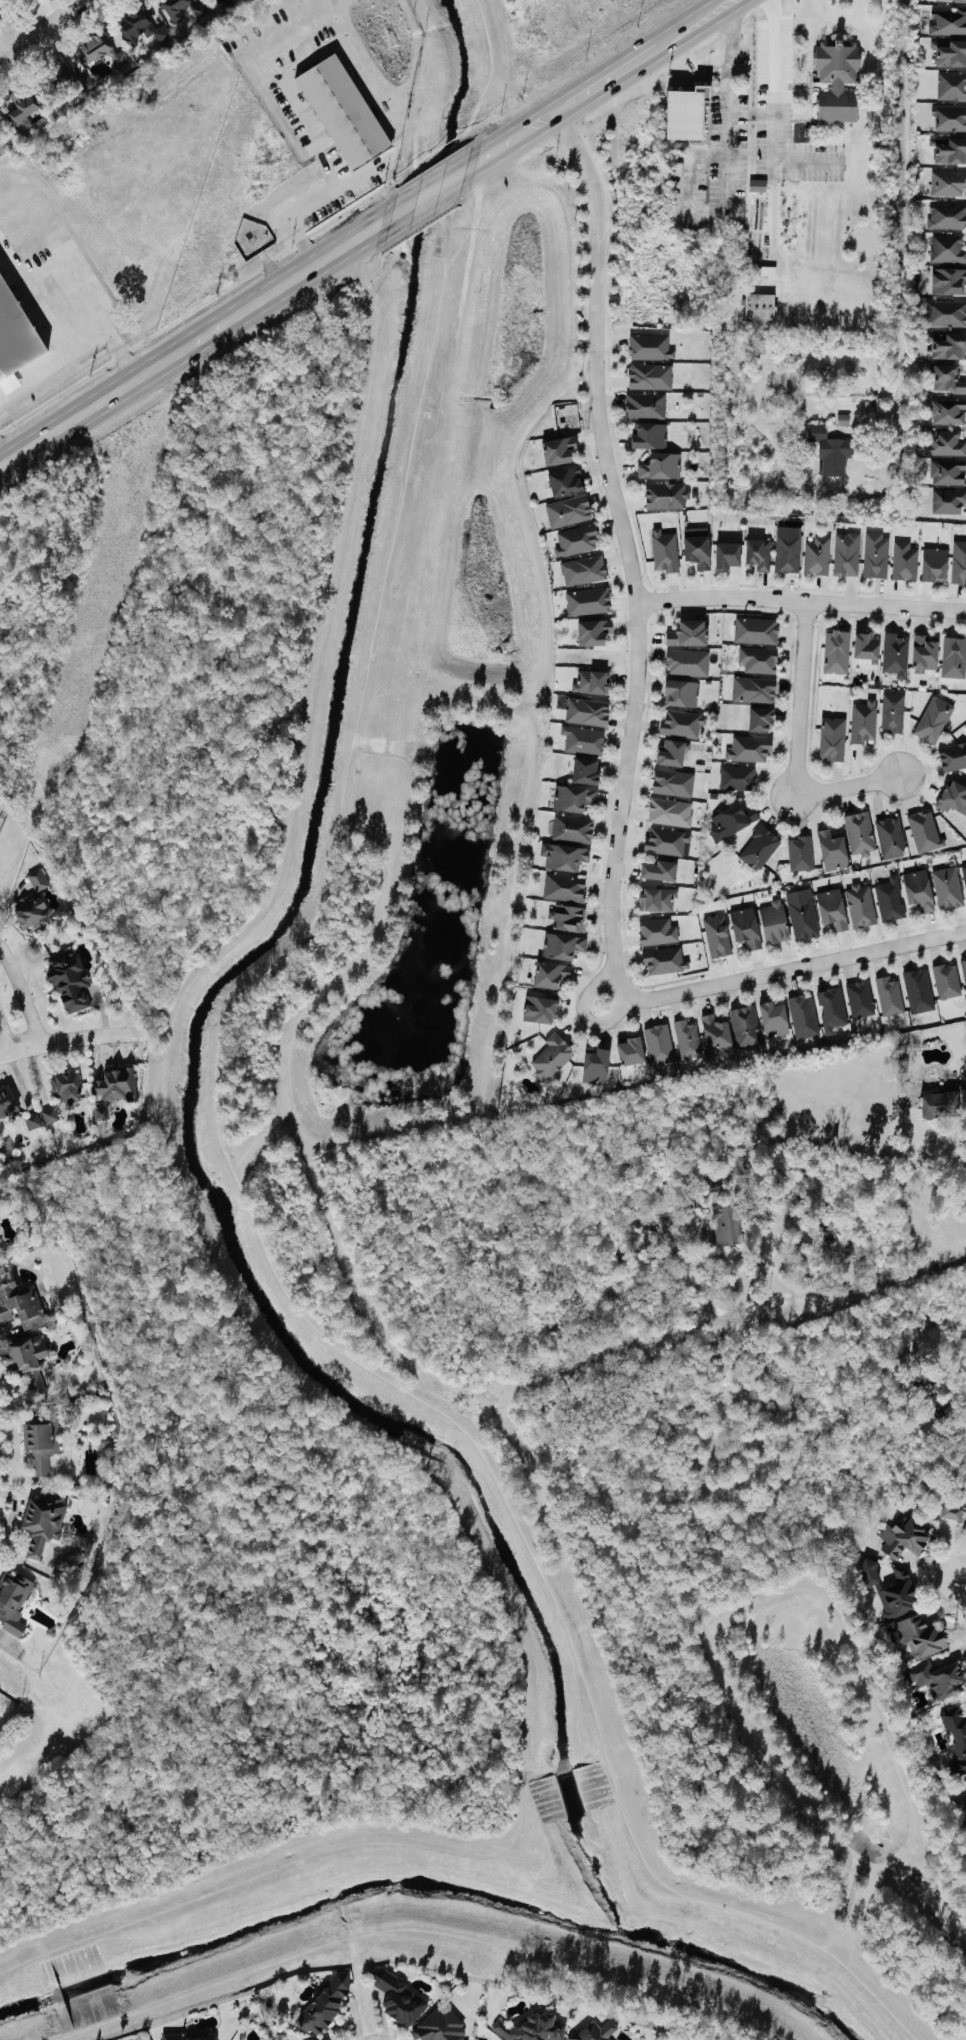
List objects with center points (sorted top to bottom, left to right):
building: (174, 13)
building: (948, 21)
road: (9, 27)
building: (141, 27)
road: (44, 28)
road: (693, 28)
building: (100, 49)
building: (951, 54)
road: (431, 64)
building: (836, 80)
road: (602, 86)
building: (951, 86)
road: (781, 104)
building: (342, 111)
building: (23, 112)
building: (685, 113)
building: (1, 117)
building: (950, 118)
road: (515, 139)
building: (949, 150)
road: (706, 154)
road: (332, 181)
building: (948, 183)
building: (757, 185)
road: (432, 190)
road: (899, 214)
building: (947, 216)
building: (948, 248)
building: (948, 281)
road: (66, 302)
building: (946, 313)
road: (195, 342)
building: (13, 343)
building: (761, 345)
building: (650, 347)
road: (76, 354)
building: (650, 376)
building: (947, 379)
building: (645, 406)
building: (948, 411)
building: (649, 436)
building: (947, 443)
building: (829, 449)
building: (558, 450)
road: (5, 454)
building: (661, 466)
building: (948, 472)
building: (566, 482)
building: (666, 495)
building: (948, 501)
building: (567, 511)
building: (576, 541)
building: (697, 547)
building: (788, 549)
building: (664, 551)
road: (627, 554)
building: (758, 554)
building: (846, 554)
building: (727, 556)
building: (817, 556)
building: (876, 556)
building: (905, 561)
building: (958, 562)
building: (934, 564)
building: (583, 570)
building: (588, 601)
road: (801, 601)
building: (756, 631)
building: (592, 632)
building: (688, 634)
building: (865, 650)
building: (836, 652)
building: (924, 653)
building: (895, 655)
building: (954, 658)
building: (758, 660)
building: (687, 662)
building: (592, 682)
building: (753, 690)
building: (680, 694)
road: (799, 700)
building: (587, 712)
building: (893, 712)
building: (760, 720)
building: (934, 720)
building: (864, 722)
building: (682, 723)
building: (832, 739)
building: (583, 740)
building: (749, 749)
building: (670, 754)
building: (953, 757)
building: (585, 772)
building: (737, 778)
building: (673, 783)
road: (846, 787)
building: (953, 798)
building: (573, 799)
building: (670, 812)
building: (732, 820)
building: (572, 828)
building: (924, 831)
building: (860, 834)
building: (890, 838)
building: (667, 841)
building: (759, 848)
building: (832, 851)
building: (801, 854)
building: (564, 856)
building: (659, 870)
building: (964, 873)
building: (38, 879)
building: (564, 887)
building: (947, 887)
building: (918, 889)
building: (658, 898)
building: (889, 899)
building: (860, 905)
building: (832, 908)
building: (29, 910)
building: (802, 913)
building: (568, 917)
building: (774, 922)
building: (745, 926)
building: (657, 931)
building: (717, 935)
building: (562, 945)
building: (665, 960)
building: (964, 970)
building: (550, 973)
road: (768, 973)
building: (946, 980)
building: (69, 981)
road: (589, 990)
building: (919, 990)
road: (22, 994)
building: (889, 995)
building: (860, 999)
building: (832, 1008)
building: (539, 1009)
building: (804, 1016)
building: (773, 1018)
building: (745, 1025)
building: (716, 1035)
road: (5, 1037)
road: (69, 1037)
building: (687, 1039)
building: (659, 1044)
building: (630, 1050)
building: (552, 1056)
building: (596, 1066)
building: (112, 1088)
building: (7, 1101)
building: (939, 1104)
building: (49, 1115)
building: (33, 1121)
road: (219, 1134)
building: (716, 1185)
road: (906, 1188)
building: (728, 1225)
road: (213, 1255)
road: (879, 1282)
building: (19, 1301)
building: (27, 1359)
building: (105, 1442)
building: (41, 1444)
building: (952, 1517)
building: (41, 1523)
building: (965, 1529)
building: (904, 1537)
building: (82, 1545)
road: (961, 1588)
building: (897, 1596)
building: (13, 1600)
building: (920, 1636)
building: (938, 1678)
building: (956, 1732)
building: (964, 1806)
road: (414, 1927)
building: (399, 2000)
building: (324, 2003)
building: (439, 2026)
building: (595, 2032)
building: (190, 2037)

